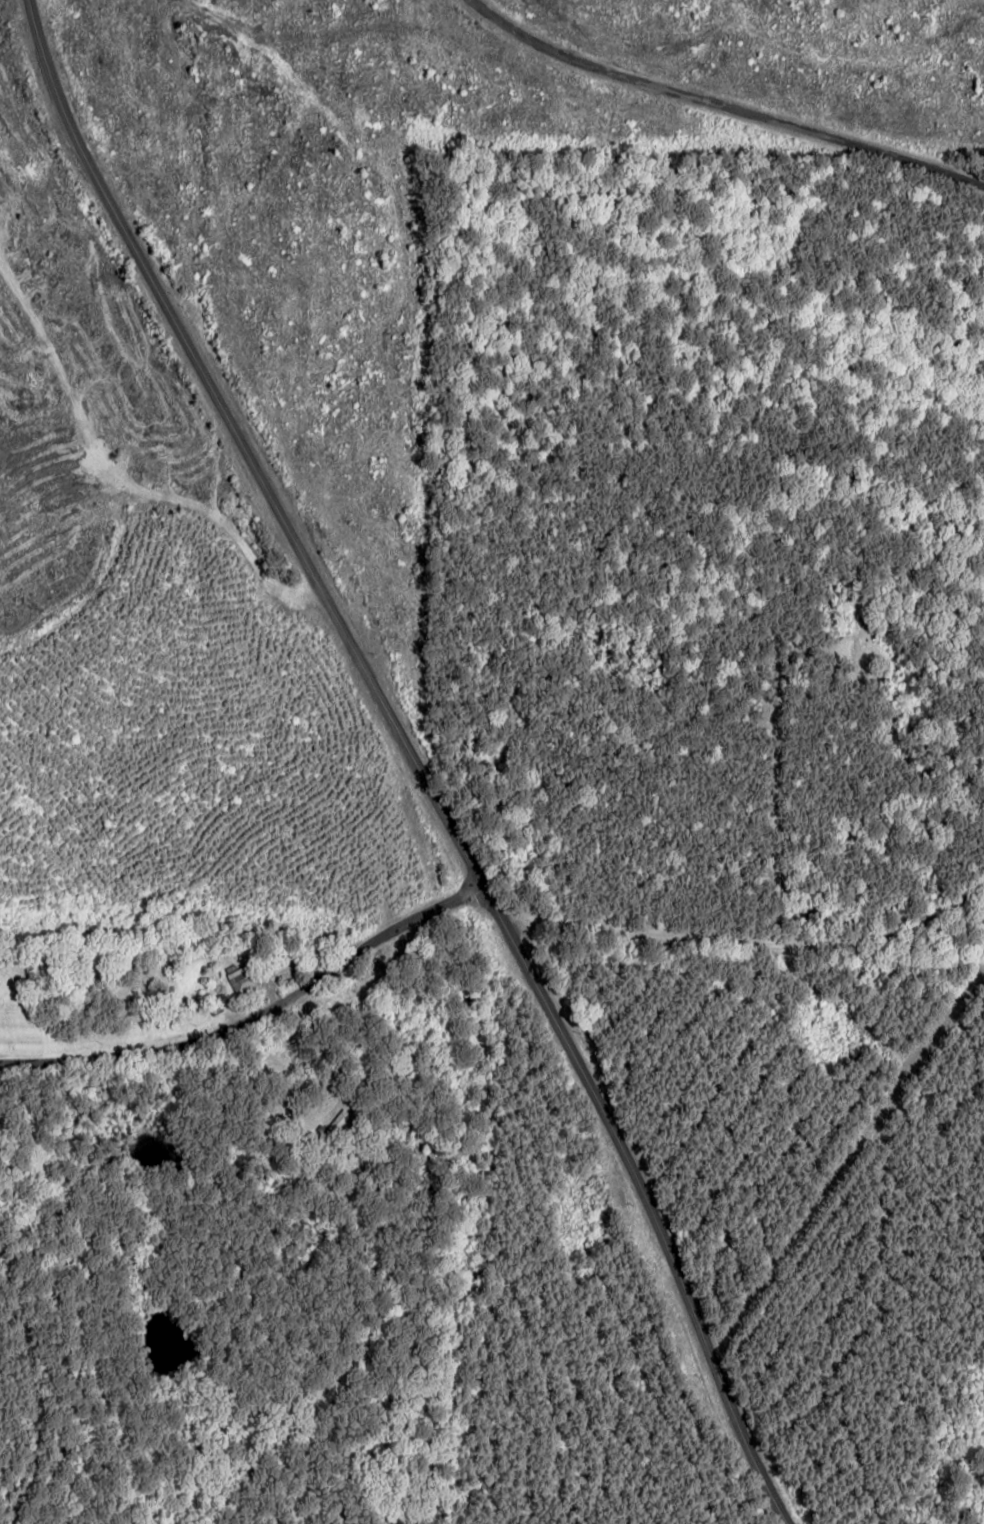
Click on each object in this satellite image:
road: (712, 107)
road: (239, 461)
road: (472, 918)
road: (643, 1211)

